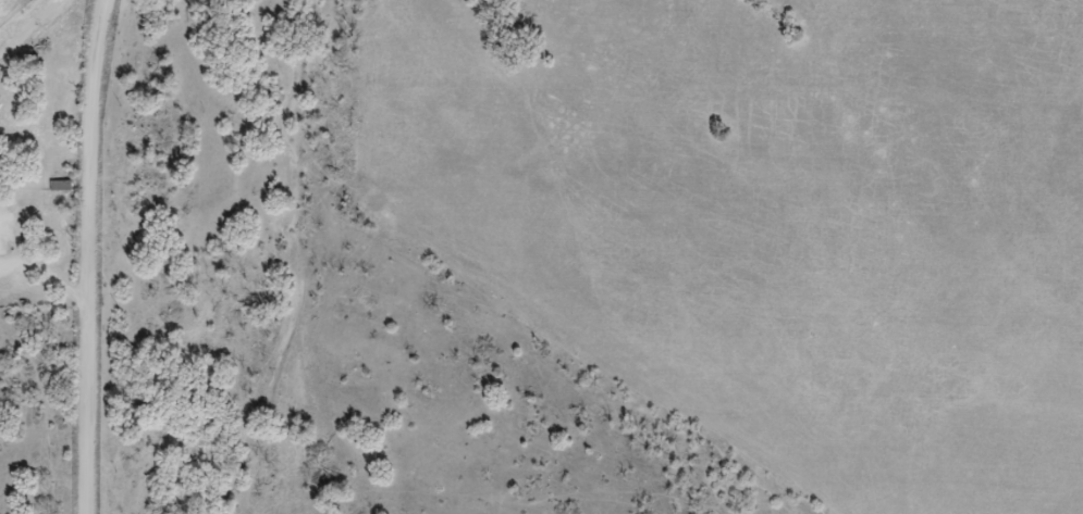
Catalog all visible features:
road: (94, 256)
road: (51, 318)
road: (958, 406)

